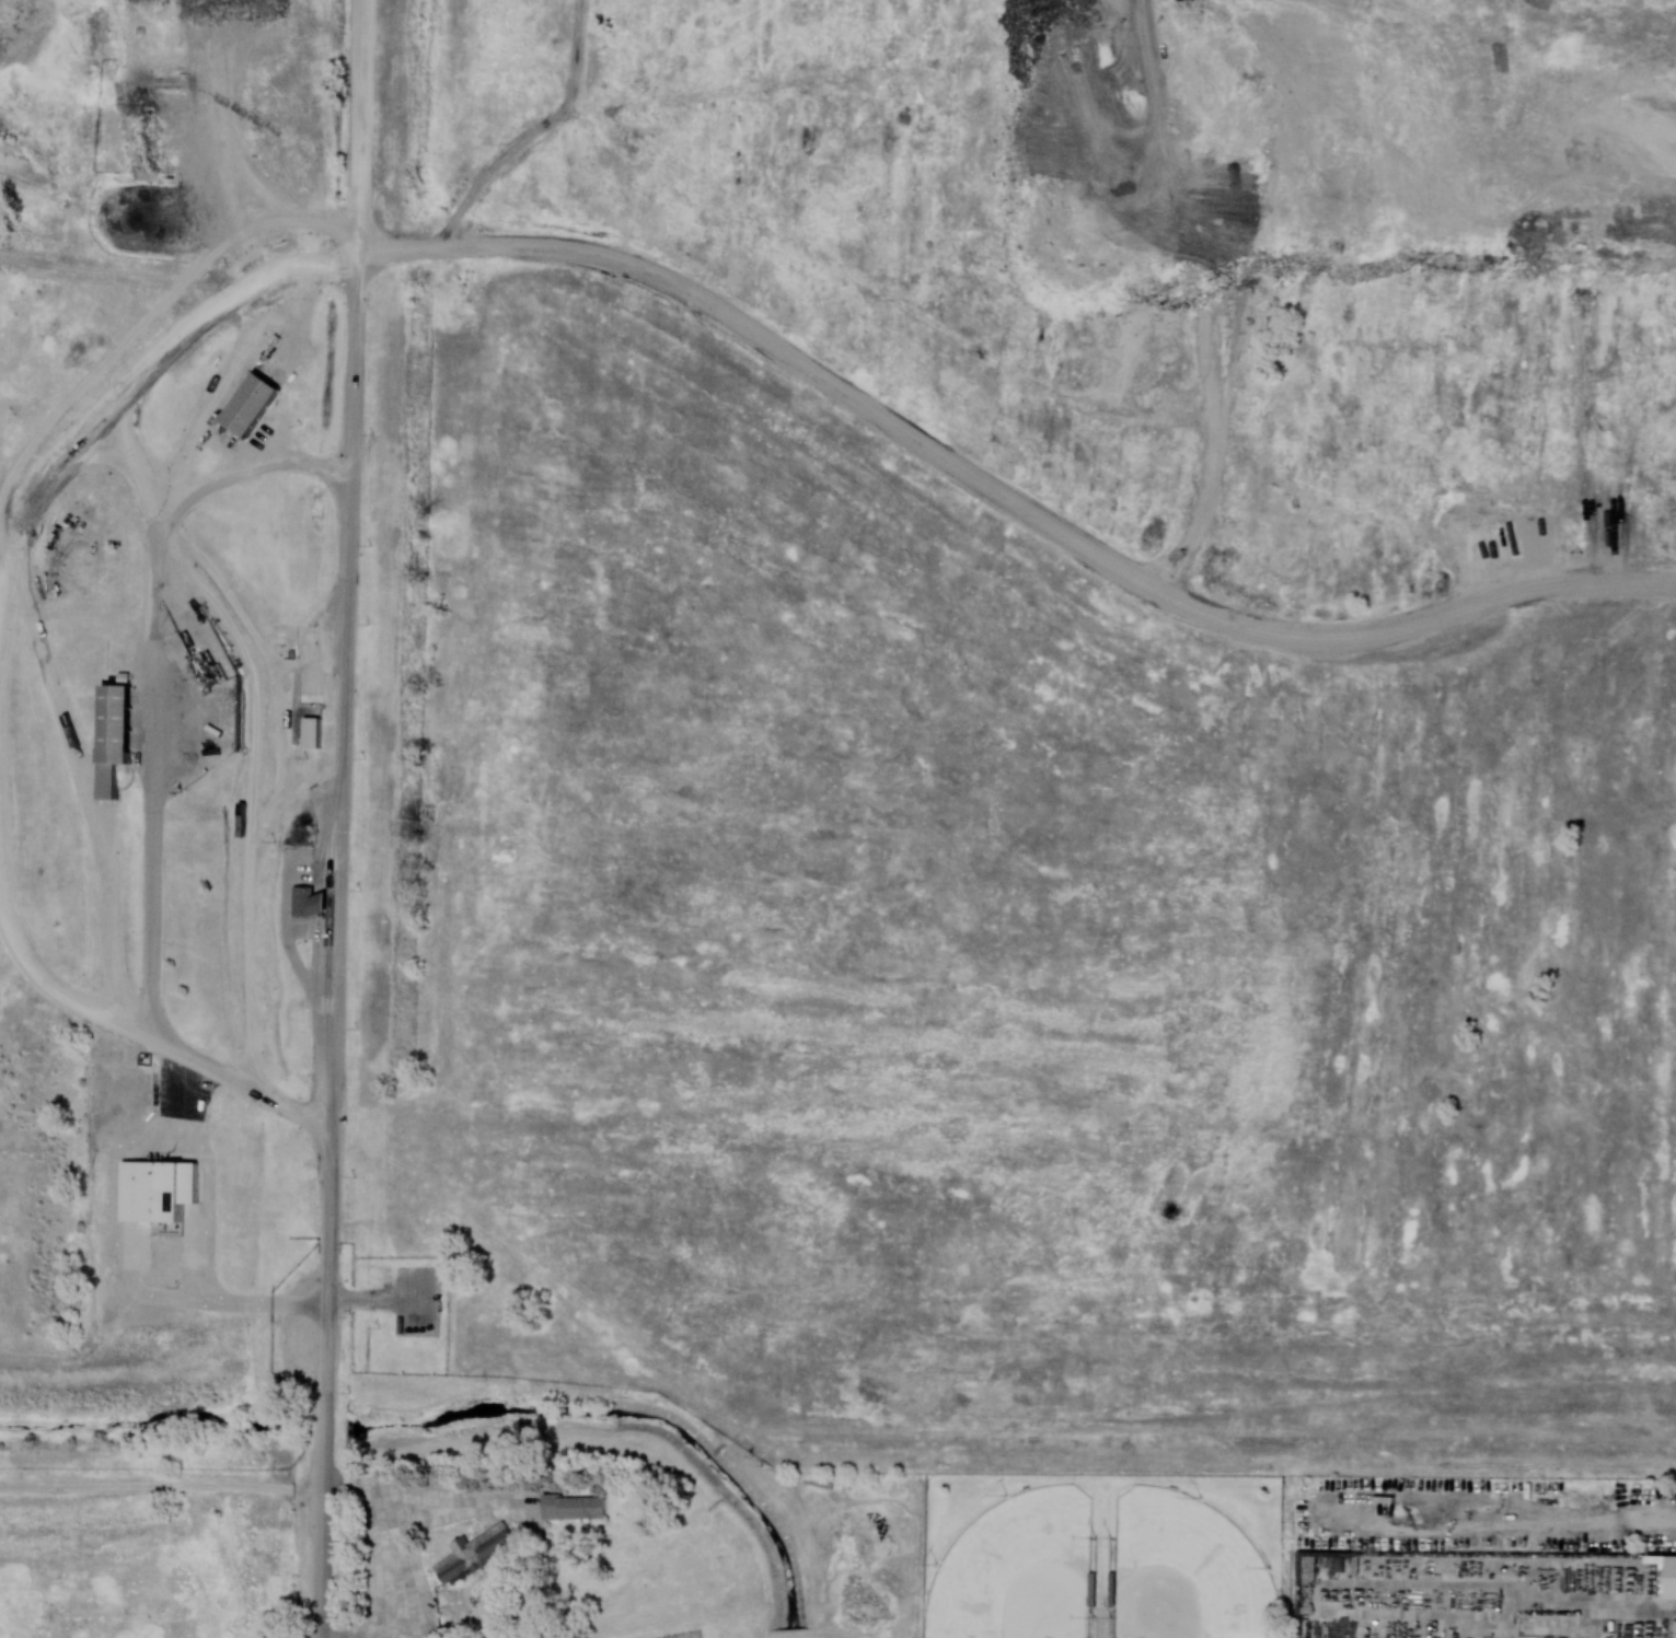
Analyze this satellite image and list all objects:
road: (220, 152)
road: (782, 351)
building: (251, 404)
road: (201, 480)
road: (160, 588)
road: (344, 625)
landfill: (841, 711)
building: (313, 732)
building: (119, 734)
road: (85, 785)
road: (250, 800)
building: (309, 902)
road: (337, 933)
road: (290, 948)
road: (143, 1032)
road: (200, 1172)
building: (158, 1189)
road: (247, 1300)
road: (330, 1323)
road: (327, 1425)
road: (163, 1484)
building: (573, 1507)
road: (388, 1537)
park: (151, 1542)
road: (324, 1542)
building: (473, 1552)
park: (1184, 1570)
park: (1016, 1571)
building: (1672, 1577)
road: (1618, 1611)
road: (1101, 1622)

